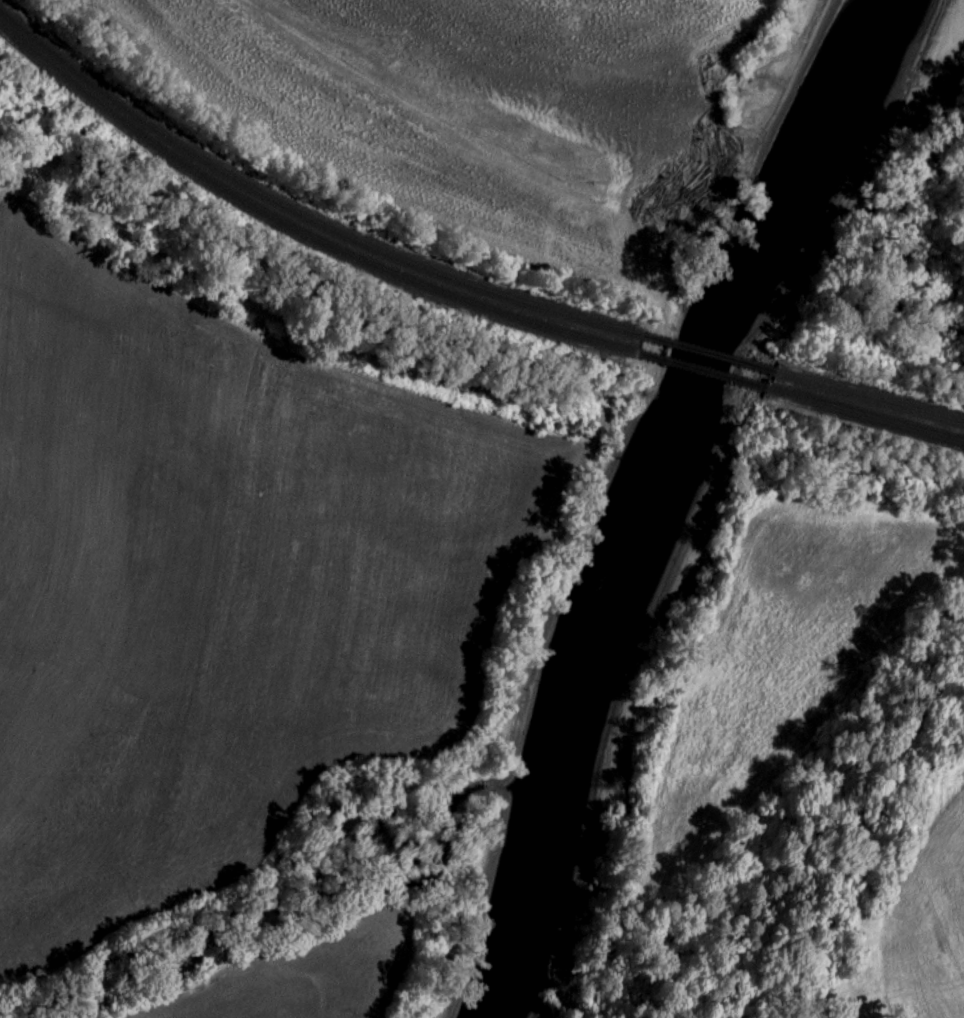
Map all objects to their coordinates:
railway: (299, 212)
railway: (296, 228)
railway: (706, 352)
railway: (700, 370)
railway: (868, 397)
railway: (864, 415)

